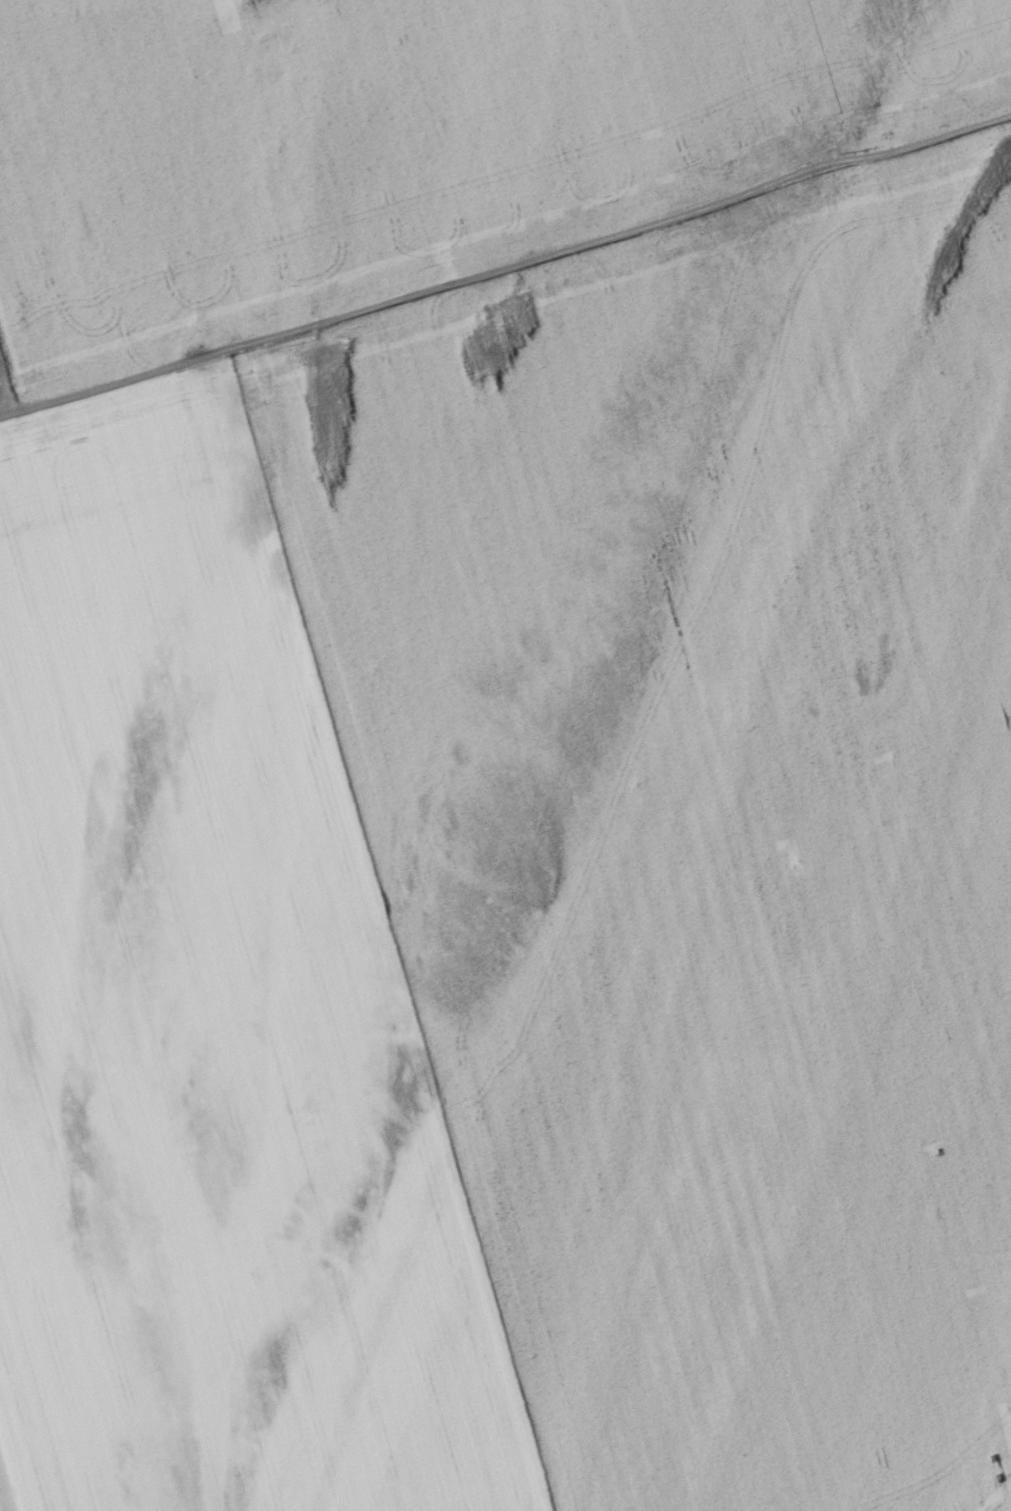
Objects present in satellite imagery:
road: (506, 268)
crop: (505, 755)

